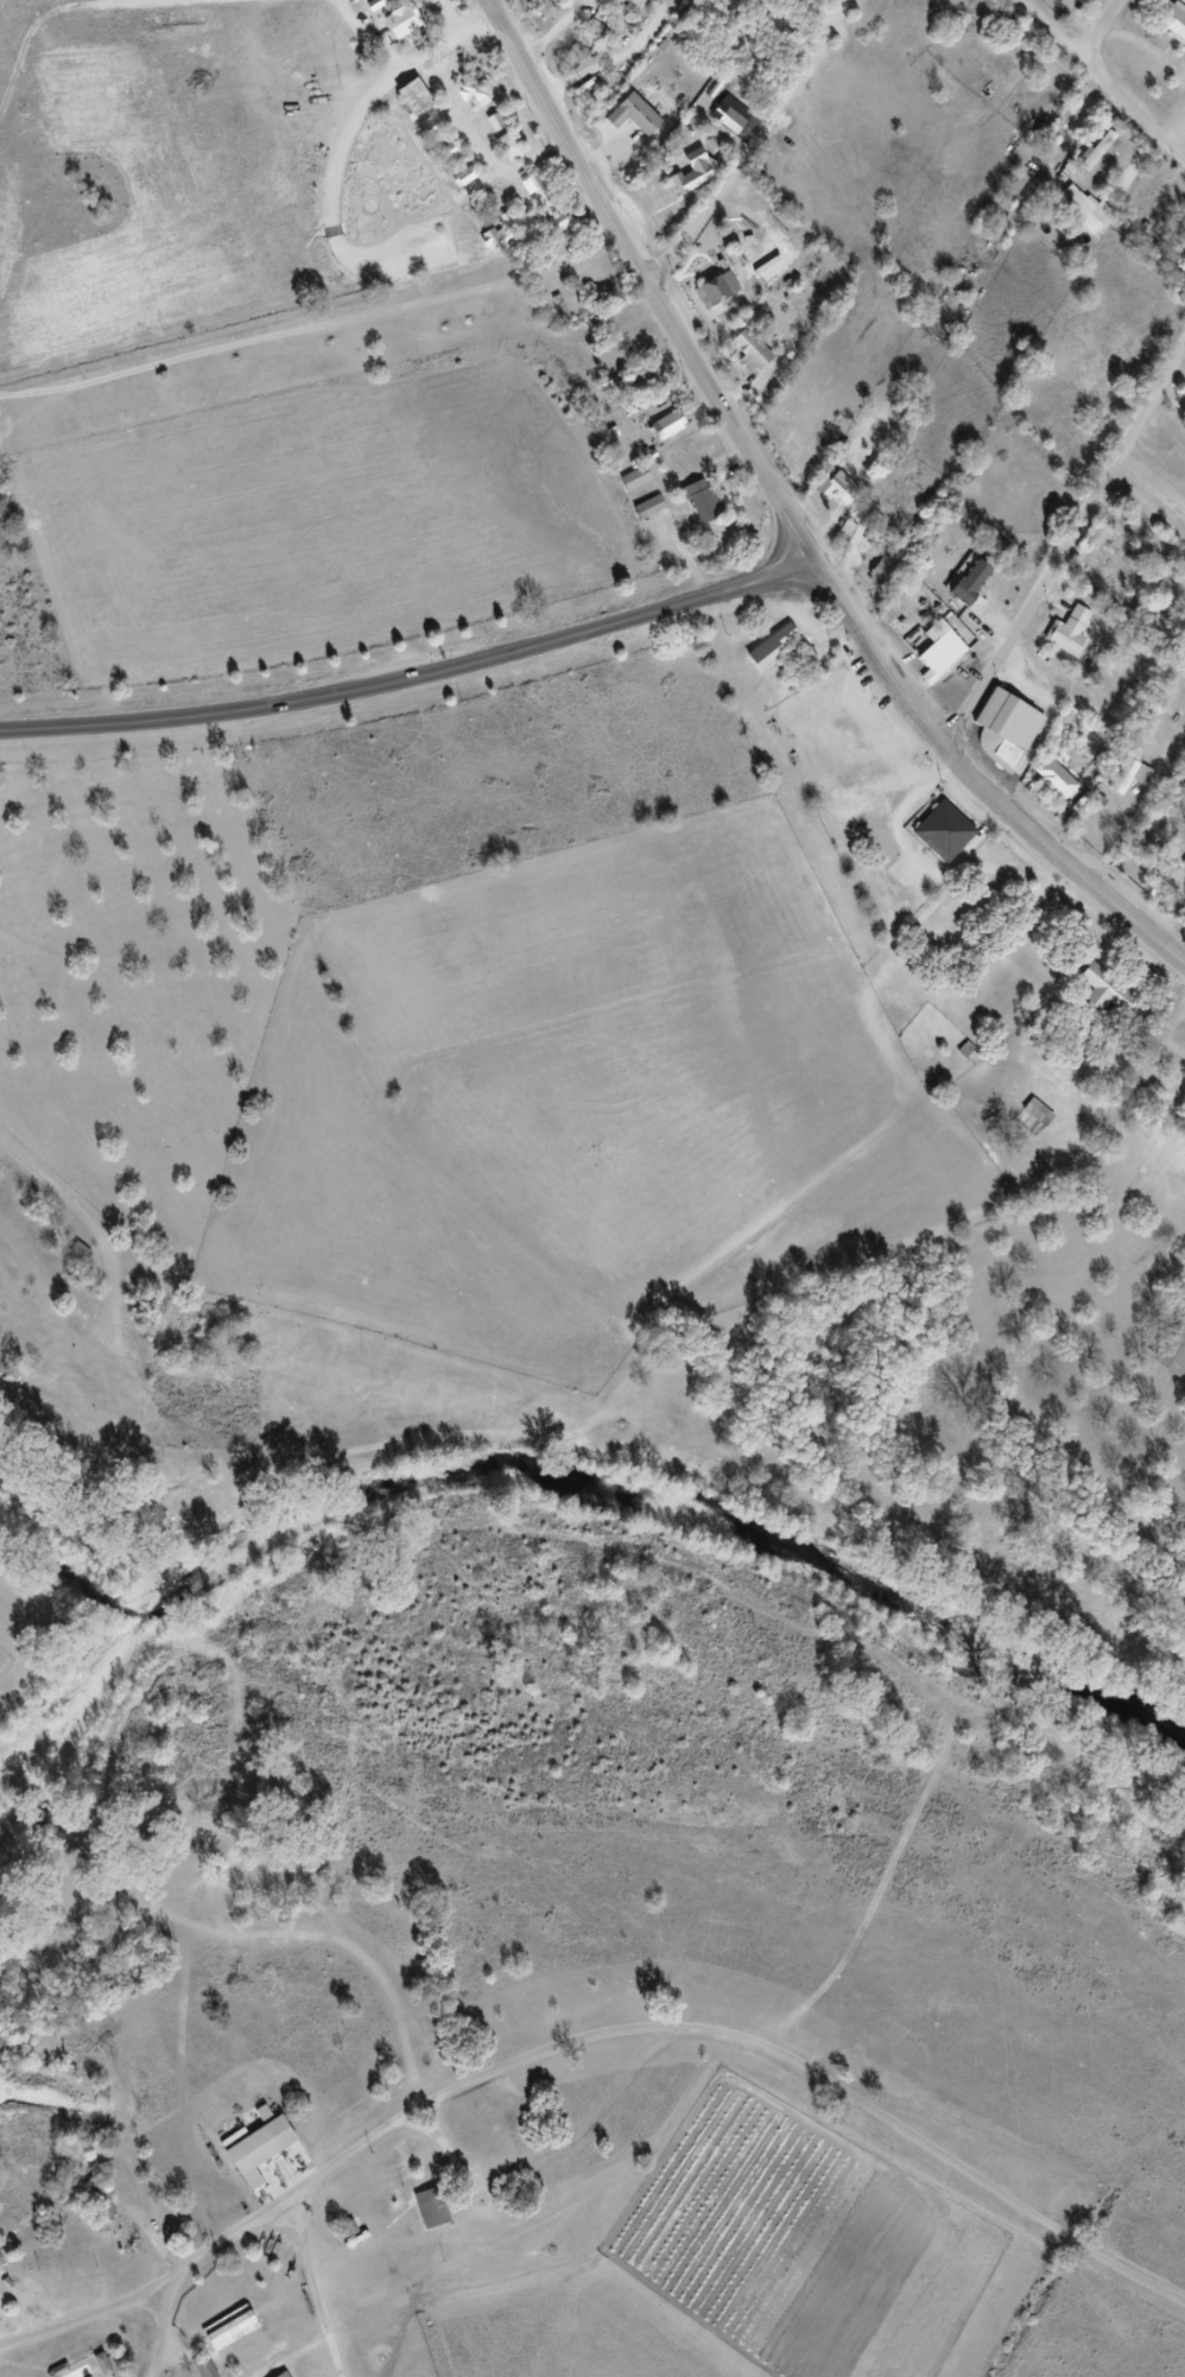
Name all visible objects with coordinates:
road: (137, 2)
building: (1078, 2)
building: (625, 6)
road: (448, 15)
building: (400, 24)
building: (1171, 30)
road: (1101, 32)
road: (369, 36)
road: (27, 40)
building: (983, 62)
road: (1100, 87)
building: (471, 93)
building: (946, 94)
building: (411, 97)
building: (635, 110)
building: (734, 116)
building: (495, 121)
building: (430, 128)
building: (724, 128)
road: (1174, 132)
building: (416, 135)
building: (508, 146)
road: (753, 146)
road: (342, 148)
building: (446, 151)
building: (502, 153)
building: (1094, 157)
building: (693, 171)
building: (463, 177)
building: (536, 199)
building: (1070, 209)
building: (551, 229)
building: (511, 230)
building: (720, 289)
building: (753, 349)
road: (703, 380)
building: (1181, 400)
building: (614, 432)
building: (661, 432)
building: (639, 476)
road: (1151, 481)
building: (628, 484)
building: (832, 493)
building: (705, 497)
road: (1148, 499)
building: (652, 505)
building: (697, 508)
road: (1063, 546)
building: (965, 589)
building: (1063, 638)
building: (774, 646)
building: (940, 647)
road: (413, 673)
building: (1008, 721)
building: (1048, 785)
building: (943, 829)
road: (1059, 862)
building: (1098, 997)
building: (1032, 1118)
building: (1170, 1357)
river: (698, 1514)
river: (101, 1528)
river: (107, 1657)
road: (551, 2049)
building: (252, 2157)
building: (95, 2208)
building: (425, 2214)
road: (177, 2277)
road: (310, 2284)
road: (82, 2324)
building: (222, 2334)
road: (161, 2339)
building: (93, 2369)
building: (195, 2371)

